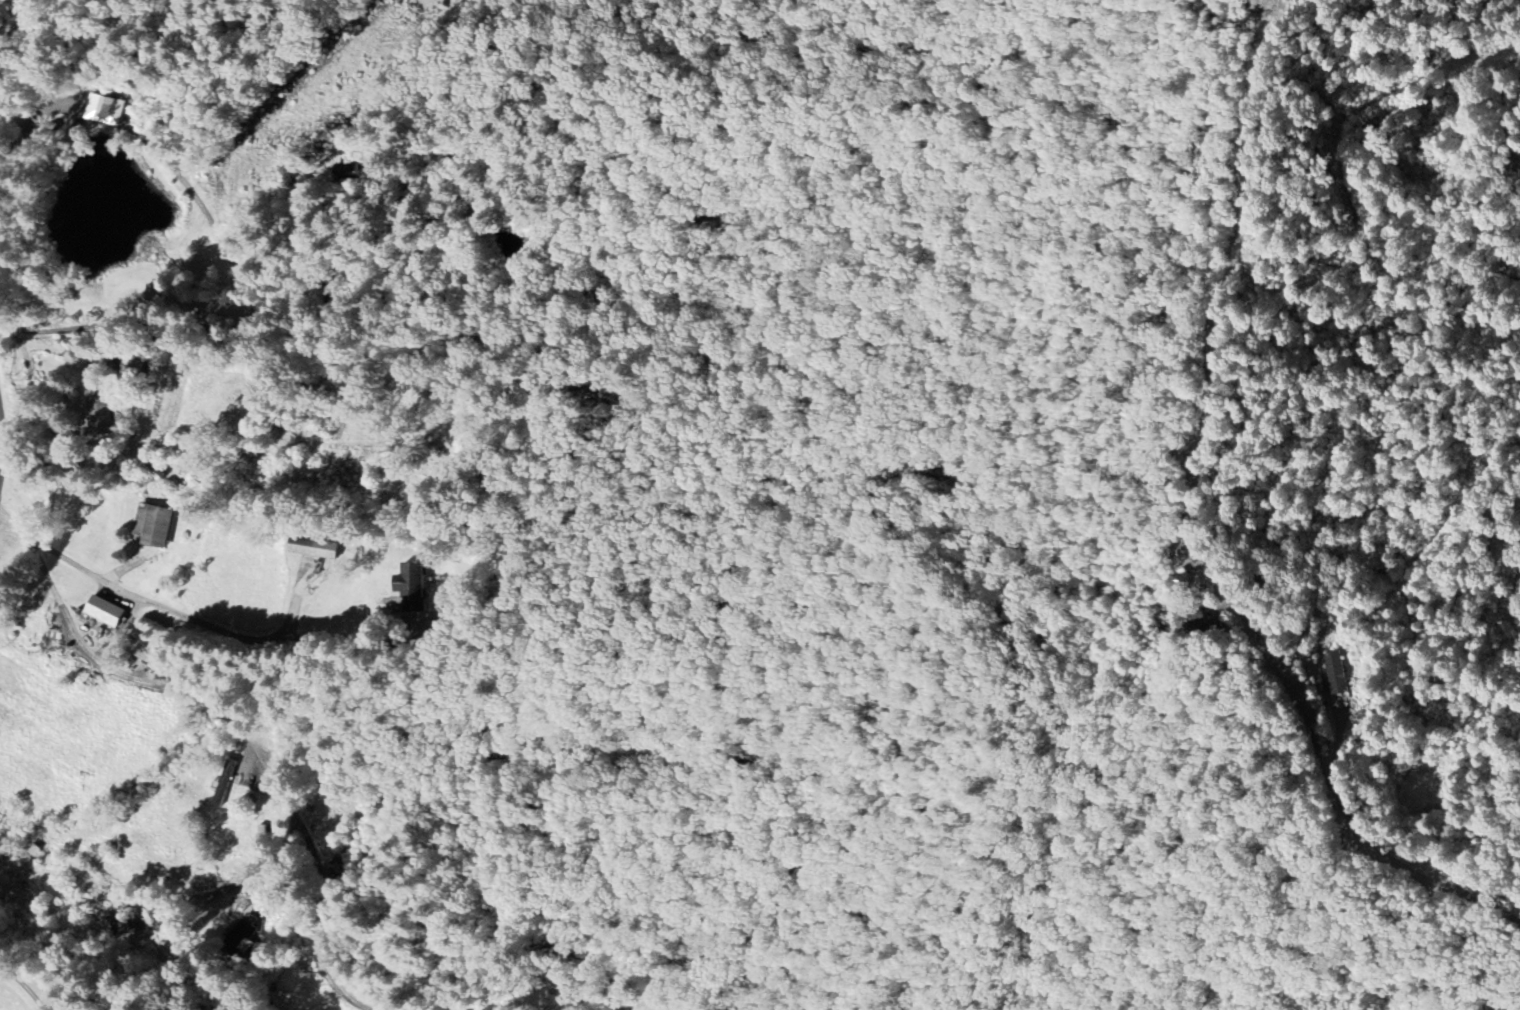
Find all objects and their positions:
road: (19, 26)
road: (1438, 77)
building: (106, 109)
road: (32, 121)
building: (354, 172)
road: (1225, 275)
road: (190, 305)
road: (45, 339)
building: (133, 367)
building: (99, 414)
road: (0, 450)
building: (153, 525)
building: (313, 547)
building: (410, 587)
building: (103, 611)
road: (188, 615)
building: (1190, 618)
building: (1335, 672)
road: (249, 740)
road: (1324, 770)
building: (224, 783)
road: (169, 903)
building: (243, 935)
road: (27, 992)

